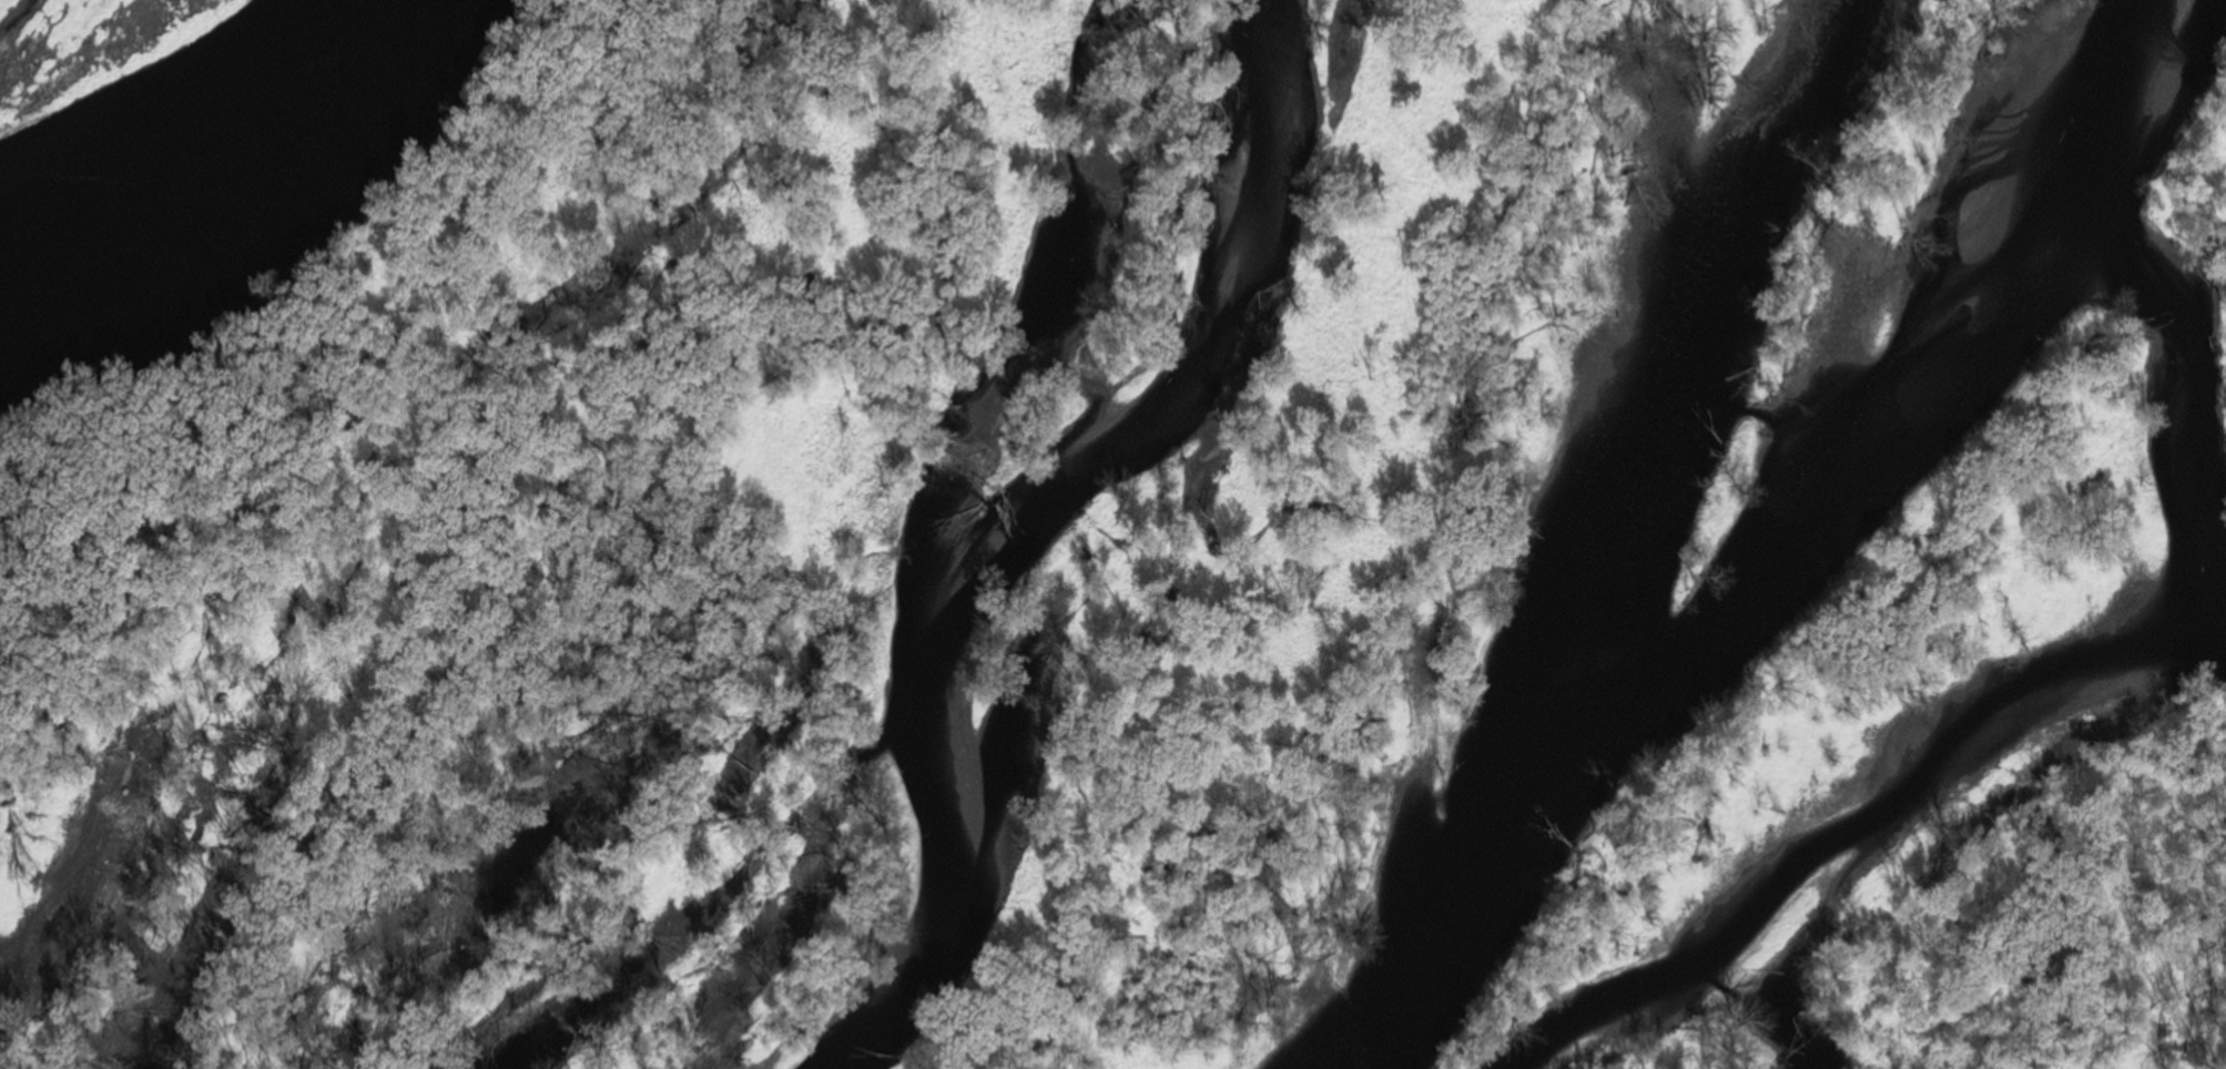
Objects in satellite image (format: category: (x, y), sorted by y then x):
river: (146, 108)

